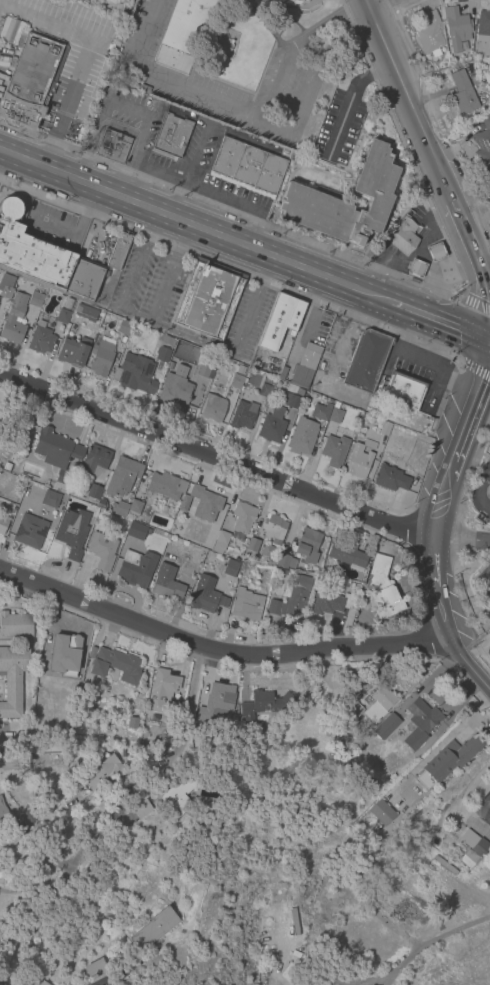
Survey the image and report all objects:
building: (301, 1)
road: (372, 3)
road: (356, 8)
parking lot: (66, 23)
building: (455, 24)
building: (186, 25)
building: (482, 26)
building: (9, 30)
building: (430, 34)
road: (94, 42)
parking lot: (148, 73)
road: (368, 77)
building: (30, 79)
gas station: (30, 79)
road: (164, 79)
parking lot: (76, 84)
building: (486, 89)
building: (462, 92)
road: (407, 100)
road: (128, 109)
parking lot: (129, 120)
road: (98, 123)
road: (278, 128)
road: (337, 128)
parking lot: (337, 129)
building: (172, 136)
building: (483, 142)
building: (112, 146)
road: (53, 153)
road: (196, 153)
road: (136, 164)
building: (247, 167)
road: (124, 170)
building: (488, 170)
parking lot: (204, 171)
road: (163, 175)
road: (138, 184)
building: (372, 192)
road: (220, 195)
road: (175, 199)
road: (84, 211)
parking lot: (419, 213)
road: (95, 222)
road: (195, 225)
parking lot: (51, 226)
road: (52, 227)
road: (252, 227)
building: (402, 235)
gas station: (402, 235)
road: (466, 235)
parking lot: (96, 243)
building: (119, 249)
building: (30, 251)
building: (435, 251)
road: (265, 267)
building: (415, 268)
road: (485, 269)
building: (104, 273)
road: (486, 279)
building: (83, 281)
parking lot: (148, 284)
building: (5, 291)
building: (35, 299)
building: (207, 299)
building: (67, 303)
road: (473, 303)
road: (402, 306)
building: (85, 312)
road: (307, 313)
building: (63, 316)
road: (136, 316)
road: (245, 316)
building: (13, 320)
parking lot: (245, 322)
building: (280, 322)
road: (451, 325)
building: (124, 327)
parking lot: (319, 327)
road: (404, 330)
road: (345, 333)
road: (188, 338)
building: (40, 340)
building: (165, 340)
parking lot: (335, 349)
building: (73, 351)
building: (162, 354)
building: (101, 355)
building: (365, 359)
road: (421, 360)
building: (305, 365)
building: (203, 370)
road: (473, 370)
parking lot: (418, 372)
building: (135, 373)
road: (483, 374)
road: (461, 380)
building: (236, 381)
building: (175, 389)
building: (402, 390)
building: (265, 391)
building: (299, 391)
building: (290, 400)
building: (213, 408)
building: (243, 411)
building: (321, 411)
building: (335, 413)
road: (463, 424)
building: (272, 425)
building: (384, 428)
building: (302, 436)
parking lot: (489, 437)
building: (334, 450)
road: (214, 454)
building: (57, 457)
building: (359, 459)
building: (95, 460)
building: (6, 466)
road: (446, 468)
building: (122, 475)
building: (390, 478)
building: (166, 485)
building: (489, 486)
building: (93, 491)
road: (476, 491)
building: (51, 498)
building: (101, 503)
building: (184, 503)
building: (205, 503)
road: (436, 504)
building: (134, 506)
building: (119, 508)
building: (242, 518)
building: (3, 523)
building: (273, 528)
building: (30, 531)
building: (137, 531)
building: (72, 532)
road: (460, 539)
building: (220, 541)
building: (307, 545)
building: (251, 548)
building: (101, 550)
building: (267, 551)
building: (347, 555)
road: (431, 559)
building: (285, 561)
building: (136, 568)
building: (230, 568)
parking lot: (484, 578)
building: (166, 582)
road: (489, 586)
building: (381, 587)
building: (354, 588)
building: (206, 595)
building: (291, 597)
building: (330, 602)
building: (245, 604)
road: (443, 610)
building: (15, 625)
building: (489, 642)
building: (63, 645)
road: (218, 651)
building: (92, 652)
road: (466, 664)
building: (115, 665)
building: (12, 679)
building: (161, 689)
building: (38, 693)
building: (216, 701)
building: (379, 702)
road: (187, 703)
building: (265, 703)
building: (174, 707)
building: (354, 711)
building: (132, 722)
building: (420, 722)
building: (386, 725)
building: (451, 757)
building: (148, 763)
building: (12, 764)
building: (101, 771)
building: (178, 794)
building: (482, 807)
building: (141, 808)
building: (2, 810)
building: (381, 812)
building: (83, 832)
building: (475, 844)
building: (468, 858)
building: (89, 877)
road: (40, 889)
building: (88, 896)
building: (153, 928)
road: (395, 929)
building: (26, 933)
road: (421, 945)
building: (94, 968)
building: (288, 972)
building: (39, 982)
road: (272, 983)
road: (337, 984)

